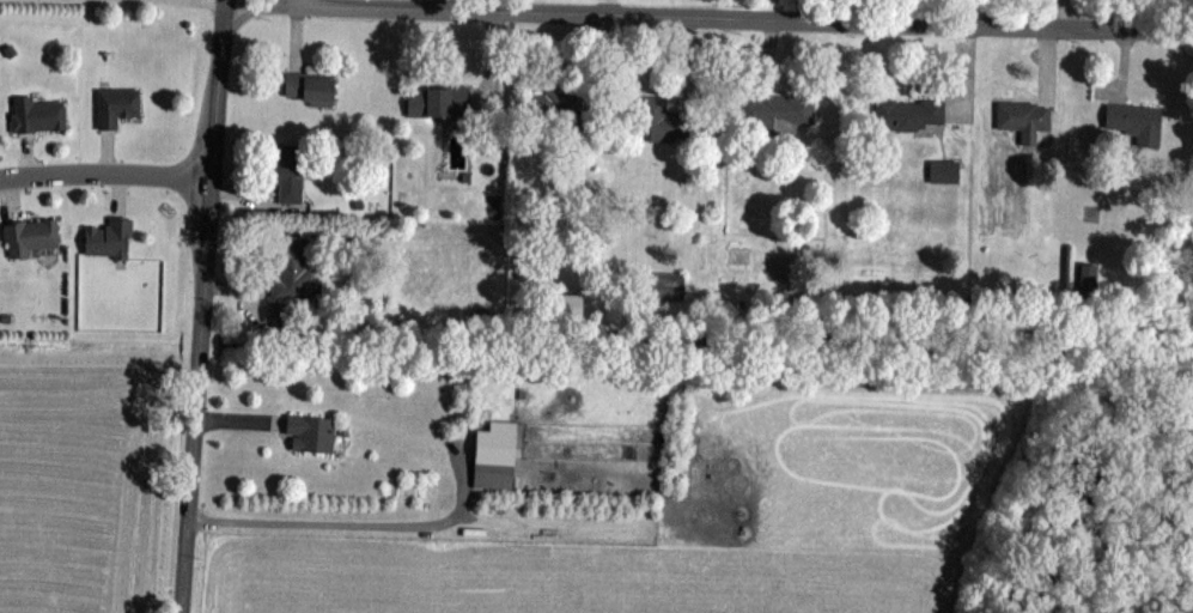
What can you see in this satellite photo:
road: (227, 1)
road: (150, 2)
road: (1051, 14)
road: (710, 18)
building: (314, 90)
building: (443, 103)
building: (121, 107)
building: (554, 109)
building: (777, 114)
building: (921, 114)
building: (42, 116)
building: (1027, 116)
building: (663, 122)
building: (1132, 125)
road: (106, 172)
building: (293, 176)
building: (34, 238)
building: (112, 239)
building: (294, 268)
road: (203, 306)
building: (287, 317)
building: (315, 433)
building: (497, 445)
road: (328, 521)

